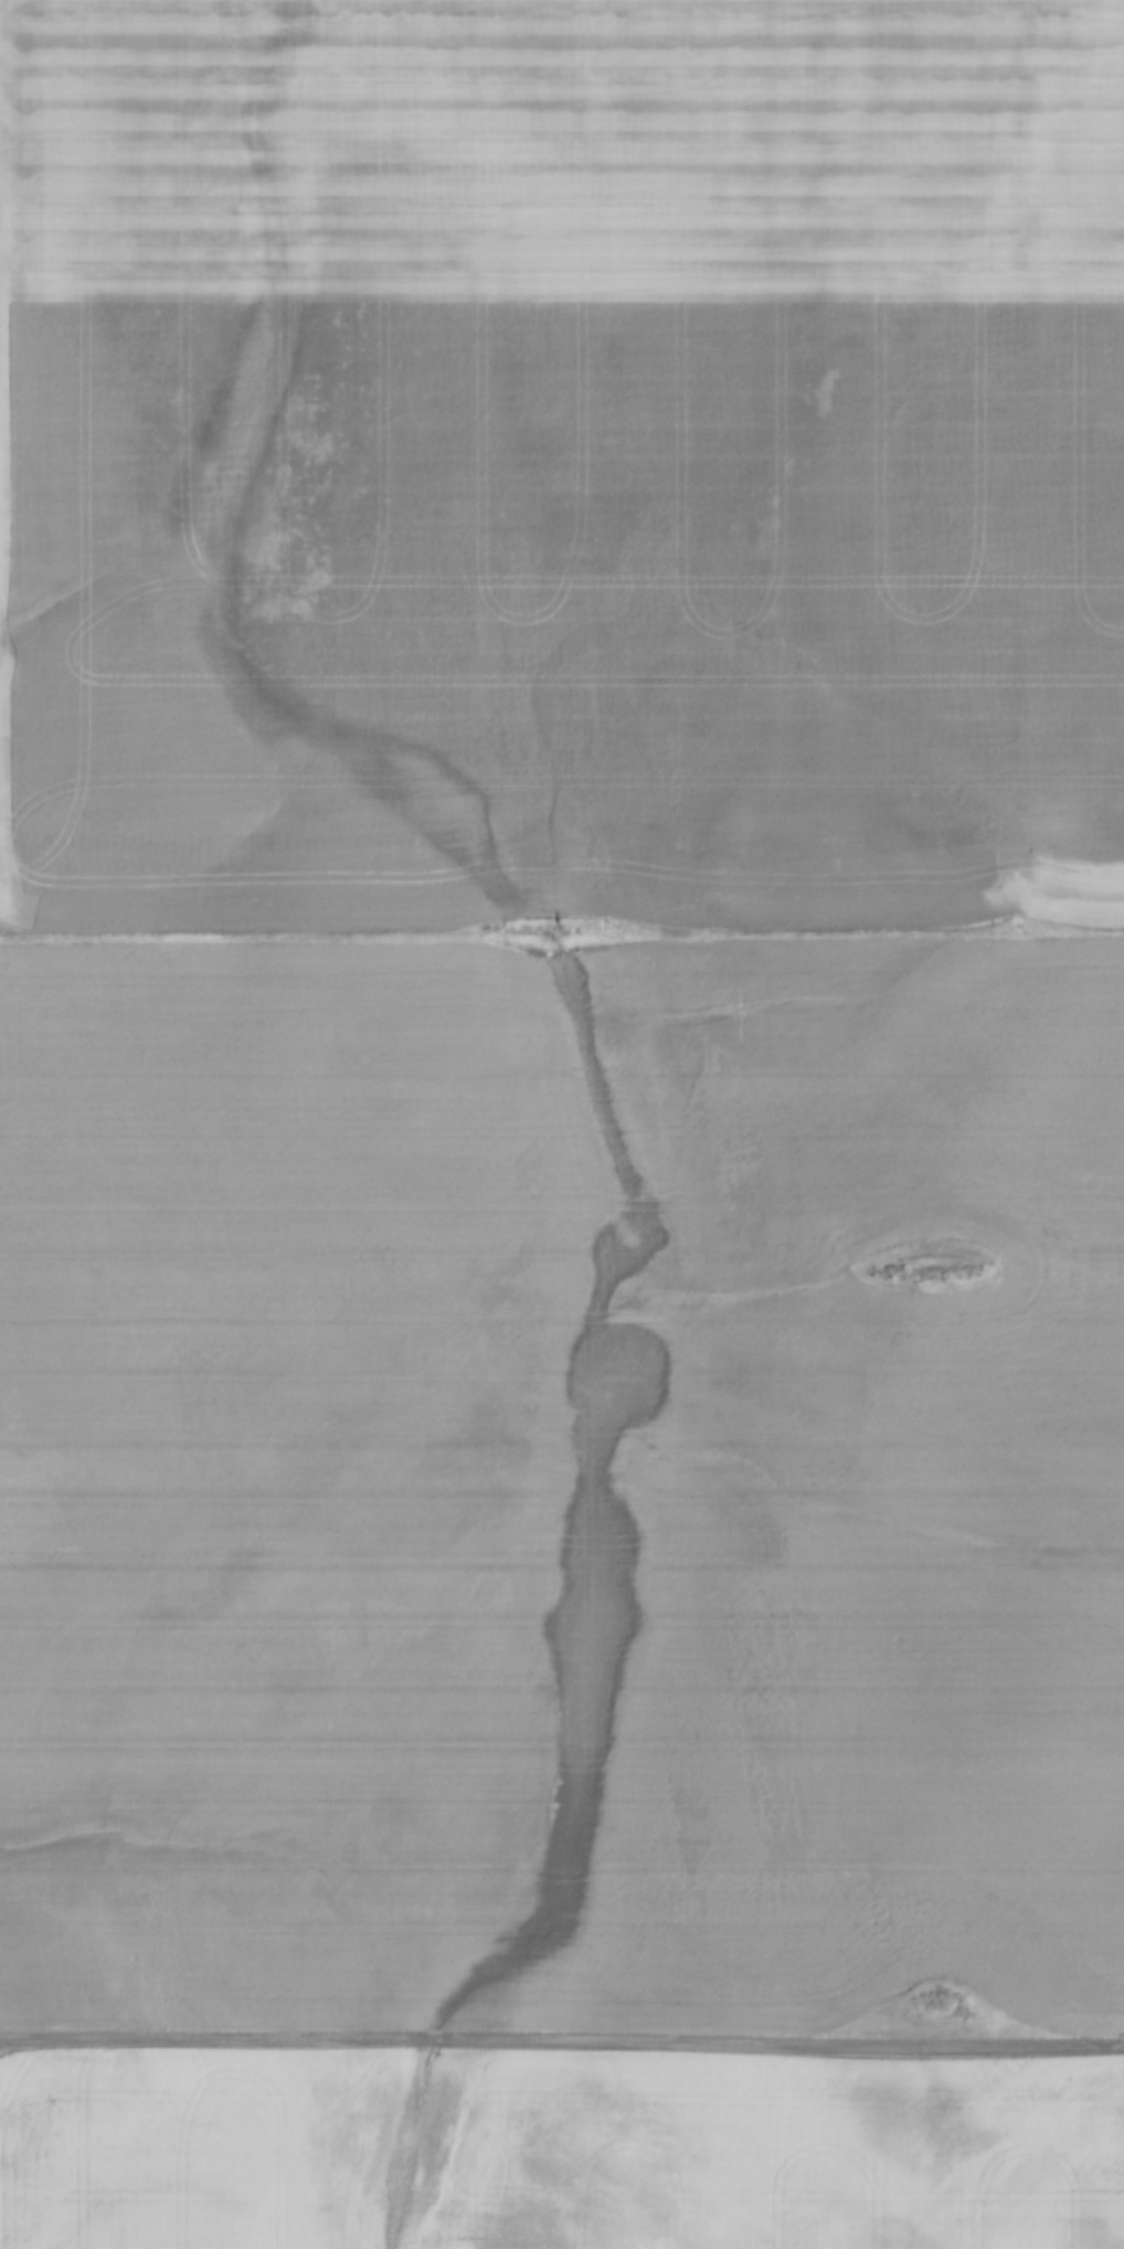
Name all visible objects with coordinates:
road: (561, 2046)

